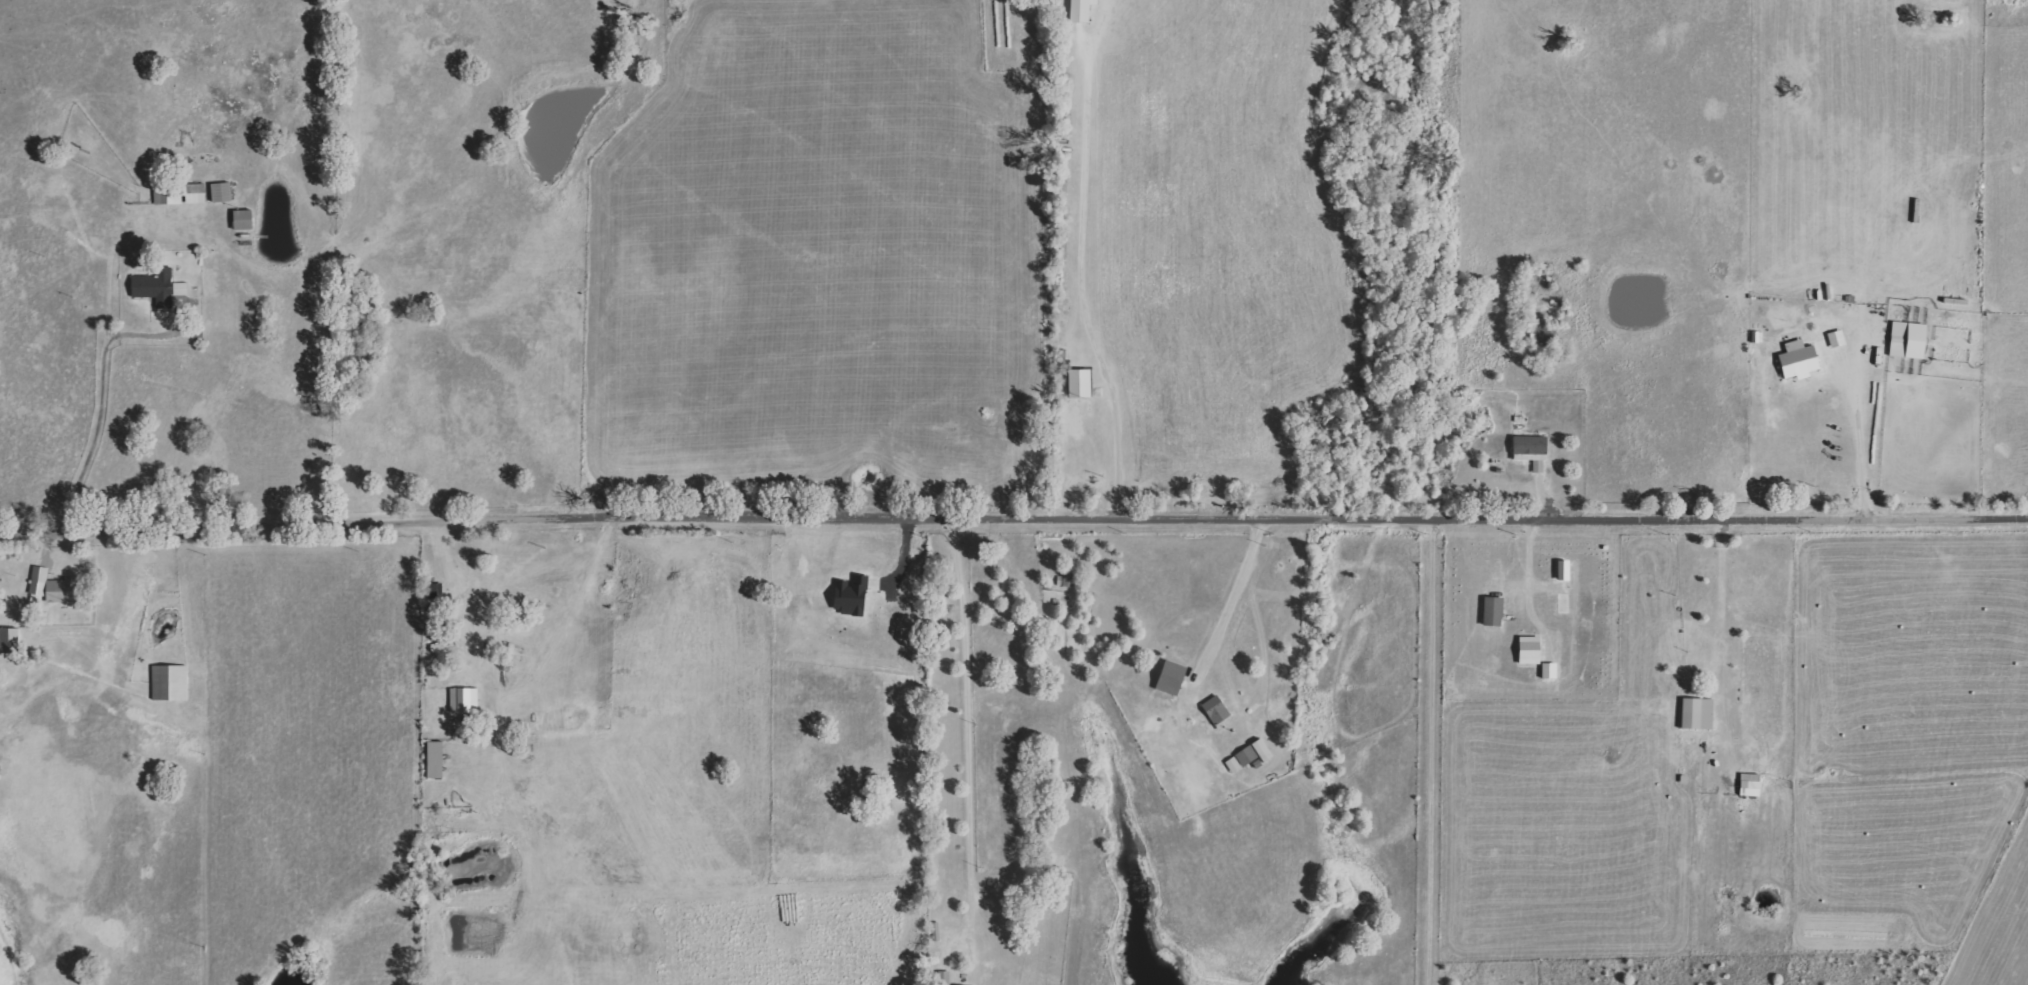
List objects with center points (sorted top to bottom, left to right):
building: (1079, 11)
building: (221, 192)
building: (194, 193)
building: (241, 220)
road: (1083, 276)
building: (157, 287)
building: (1836, 338)
building: (1907, 340)
building: (1797, 360)
road: (101, 383)
building: (1078, 383)
road: (1858, 433)
building: (1530, 451)
road: (1014, 513)
building: (1563, 570)
road: (1531, 581)
road: (1720, 582)
building: (54, 587)
road: (1241, 596)
building: (849, 597)
building: (7, 641)
building: (1528, 650)
building: (1549, 670)
road: (512, 676)
building: (1169, 678)
building: (170, 683)
building: (464, 701)
building: (1215, 711)
building: (1697, 714)
road: (973, 726)
road: (1437, 752)
building: (1248, 755)
building: (433, 760)
building: (1749, 785)

